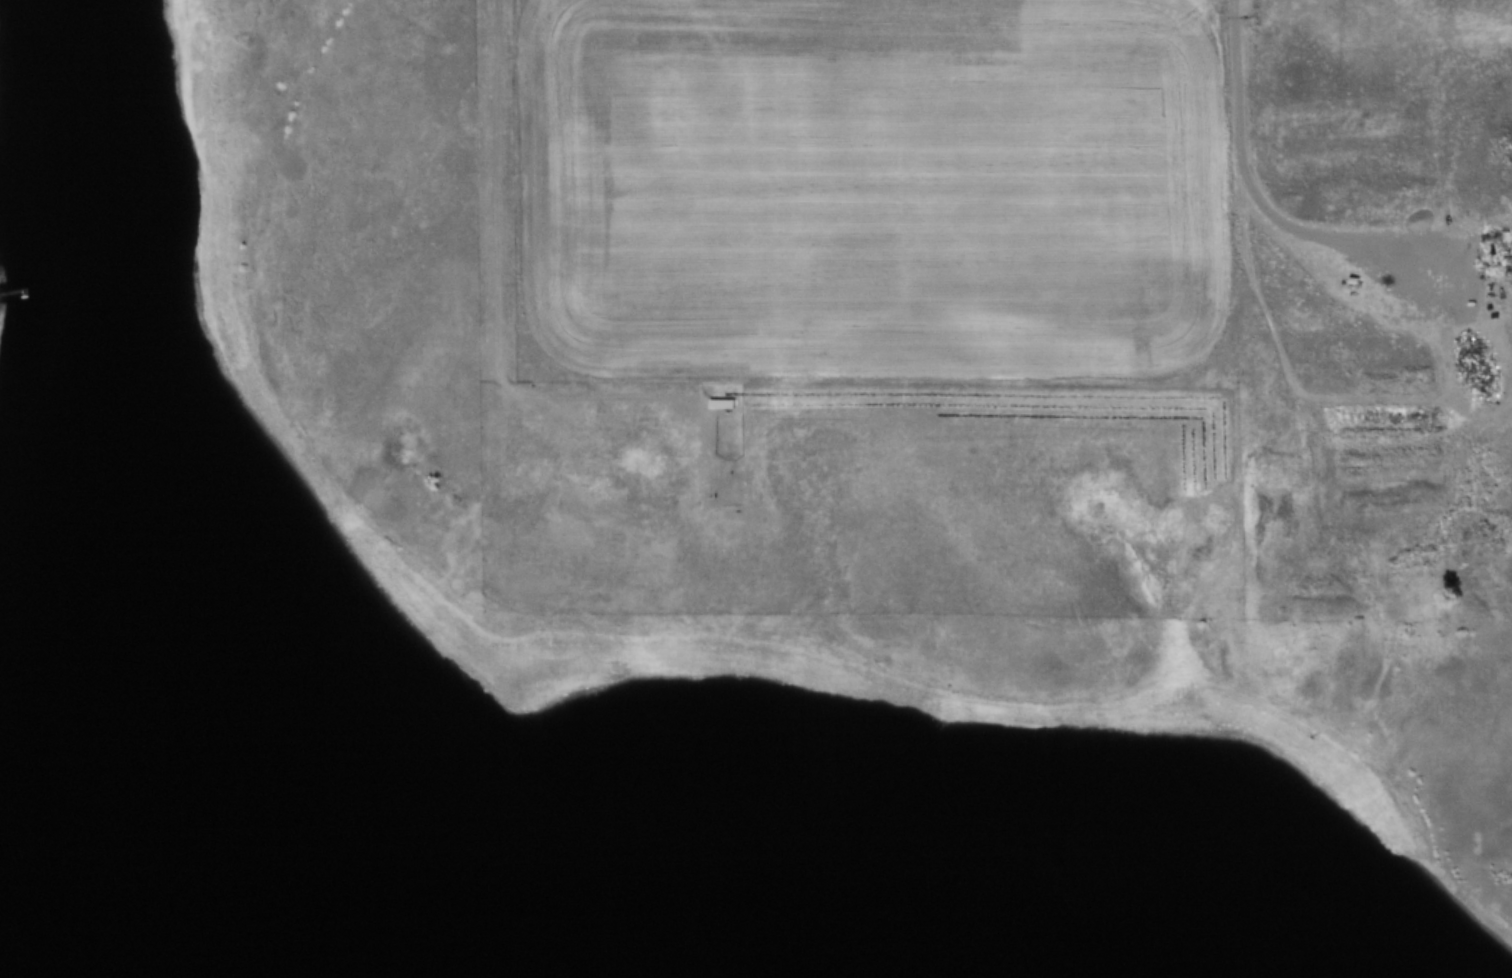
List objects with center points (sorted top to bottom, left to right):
building: (729, 497)

